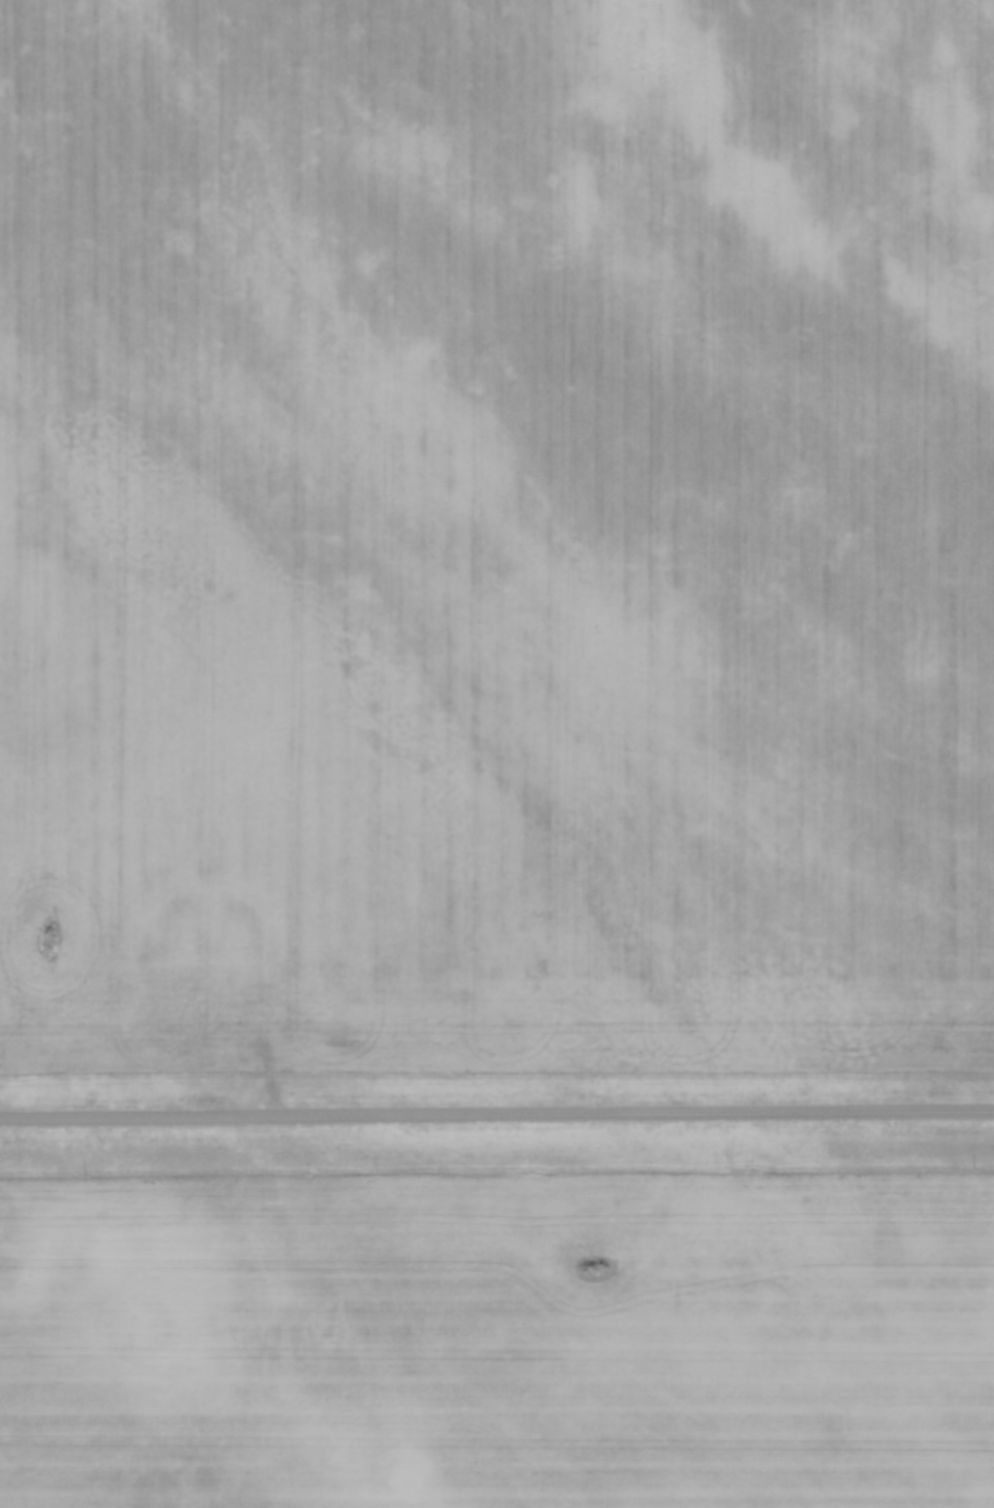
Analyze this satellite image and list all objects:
road: (497, 1116)

